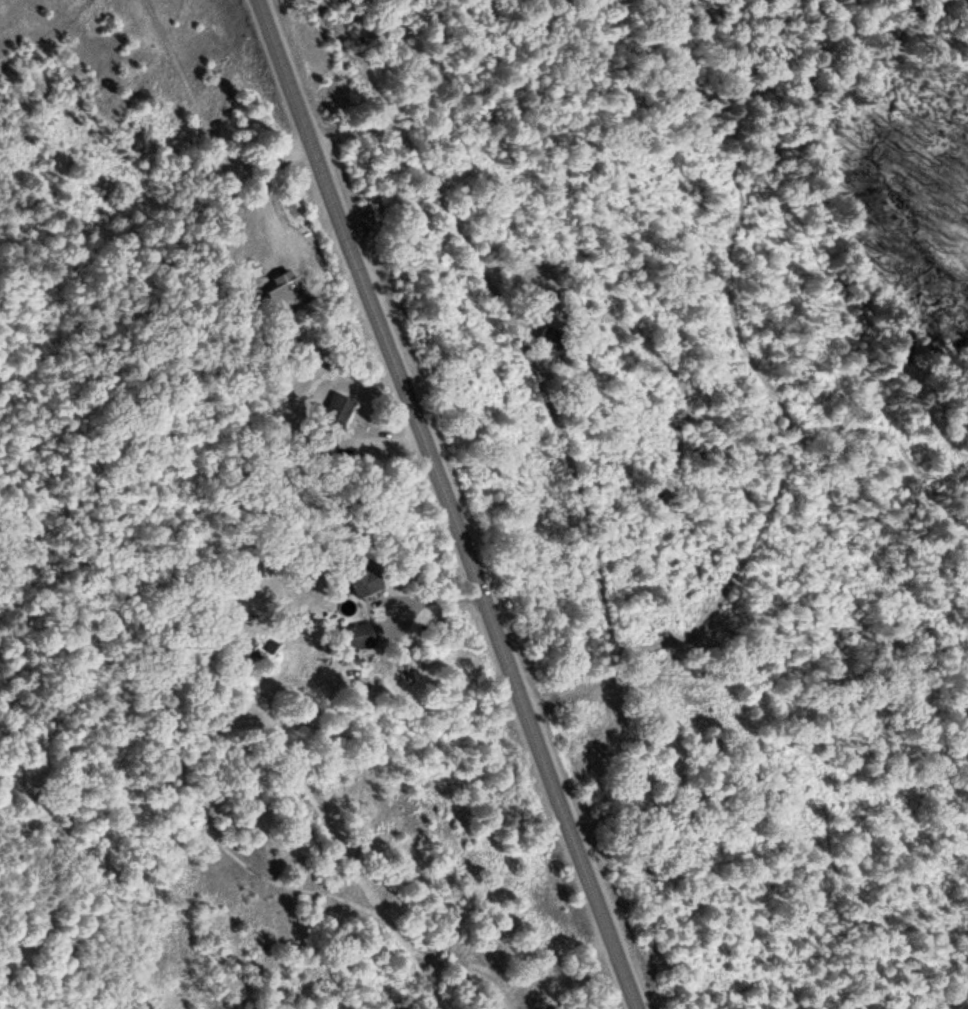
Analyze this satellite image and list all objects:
building: (286, 289)
building: (340, 409)
road: (448, 504)
building: (366, 576)
building: (361, 635)

